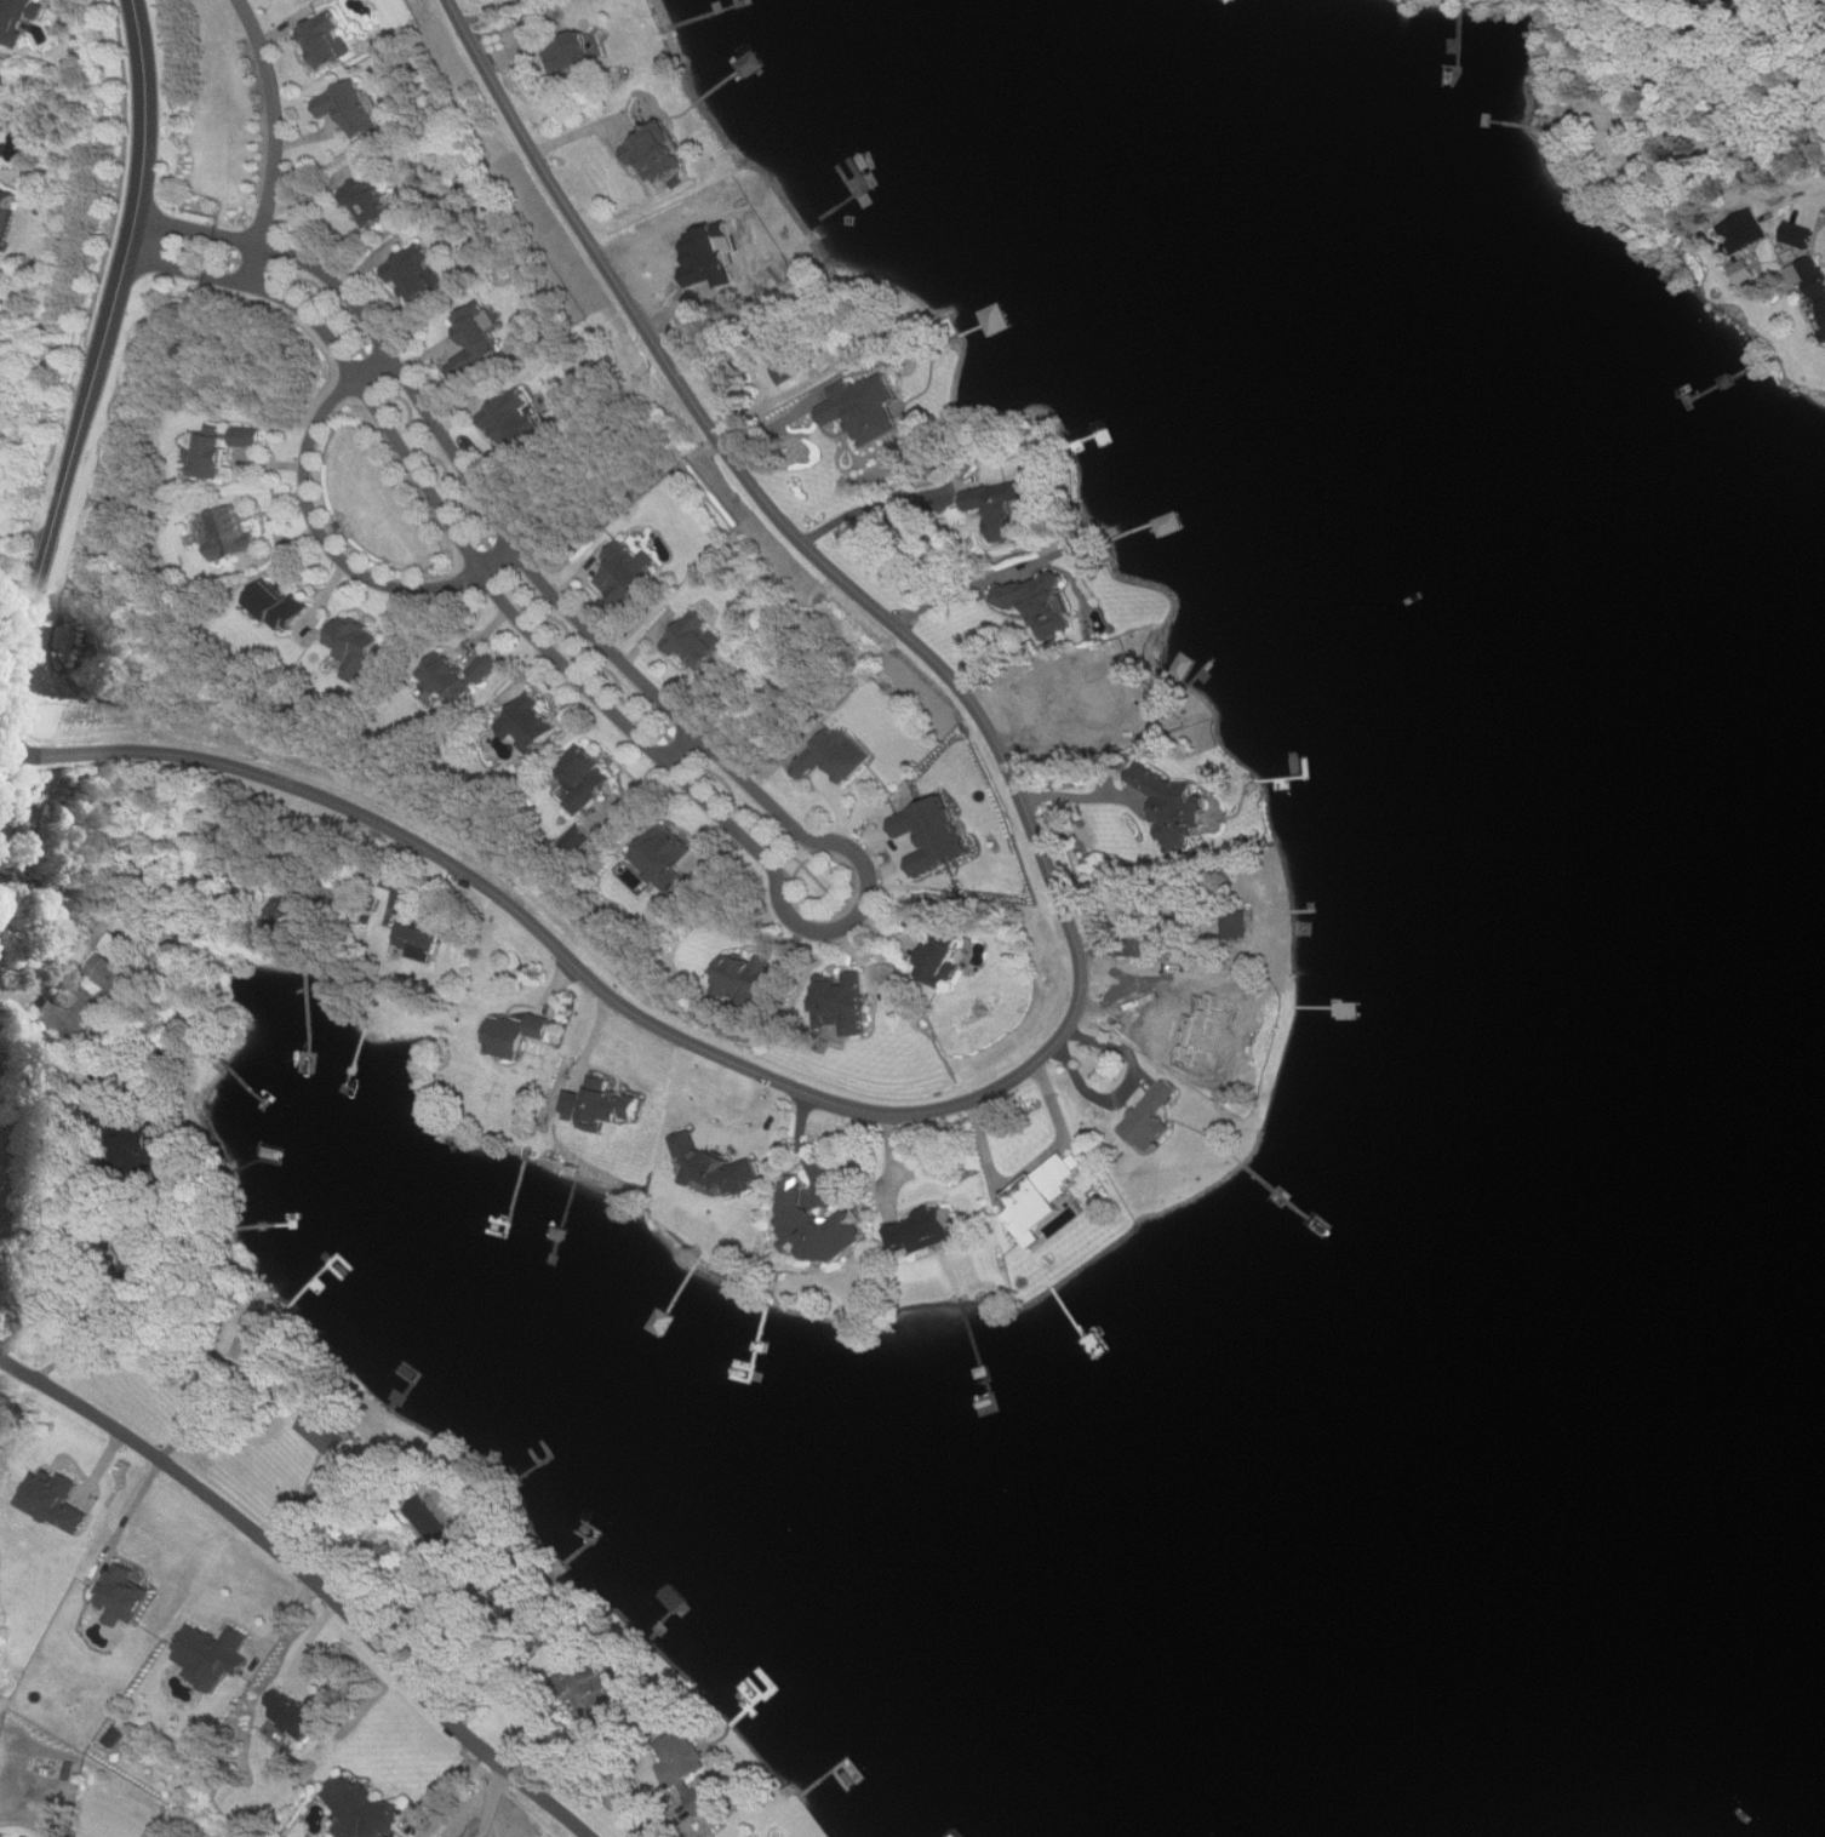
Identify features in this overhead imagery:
building: (19, 13)
building: (327, 39)
building: (572, 48)
building: (353, 107)
road: (278, 142)
building: (657, 151)
road: (144, 176)
building: (373, 199)
building: (7, 210)
building: (1740, 230)
building: (1800, 234)
building: (1744, 269)
building: (412, 270)
building: (1817, 293)
building: (999, 316)
building: (480, 330)
building: (463, 364)
building: (866, 406)
building: (514, 418)
building: (222, 450)
road: (876, 504)
building: (1002, 509)
building: (231, 532)
road: (25, 534)
road: (325, 538)
road: (48, 548)
building: (629, 571)
road: (986, 580)
road: (19, 594)
building: (281, 605)
building: (696, 639)
building: (356, 646)
building: (458, 673)
building: (530, 722)
road: (682, 748)
building: (836, 755)
building: (583, 778)
road: (1093, 795)
building: (934, 832)
building: (580, 839)
building: (665, 855)
road: (865, 909)
building: (922, 923)
road: (105, 931)
building: (418, 942)
building: (942, 962)
building: (111, 973)
building: (744, 978)
building: (843, 1001)
road: (1082, 1009)
building: (73, 1013)
building: (1228, 1031)
building: (520, 1032)
building: (1168, 1042)
road: (45, 1087)
building: (602, 1104)
building: (1152, 1116)
road: (715, 1132)
road: (802, 1144)
building: (716, 1166)
road: (1035, 1167)
building: (1043, 1197)
building: (818, 1225)
building: (937, 1225)
building: (900, 1237)
road: (92, 1338)
road: (210, 1420)
building: (324, 1430)
building: (328, 1488)
building: (53, 1498)
building: (437, 1528)
road: (310, 1579)
building: (126, 1592)
building: (676, 1598)
building: (214, 1652)
building: (589, 1687)
building: (297, 1710)
road: (568, 1744)
building: (683, 1758)
building: (704, 1799)
building: (364, 1807)
building: (957, 1833)

